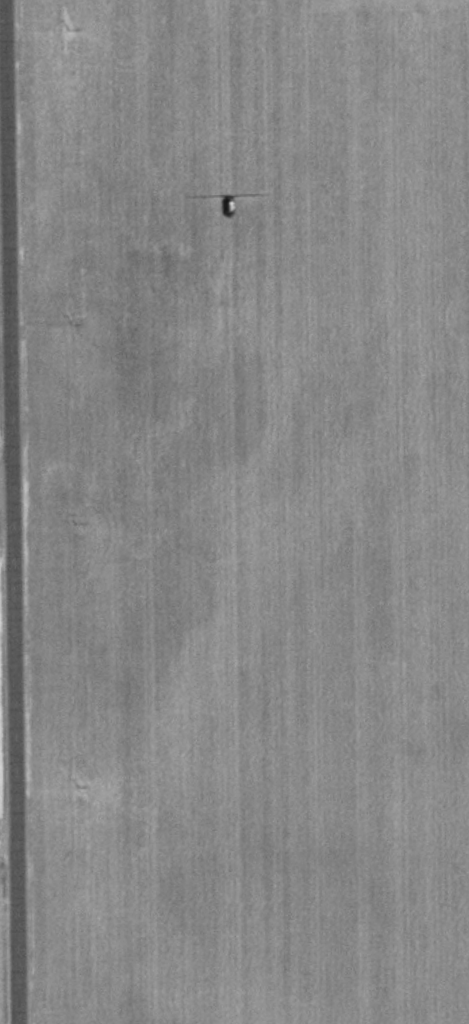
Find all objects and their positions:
road: (14, 512)

